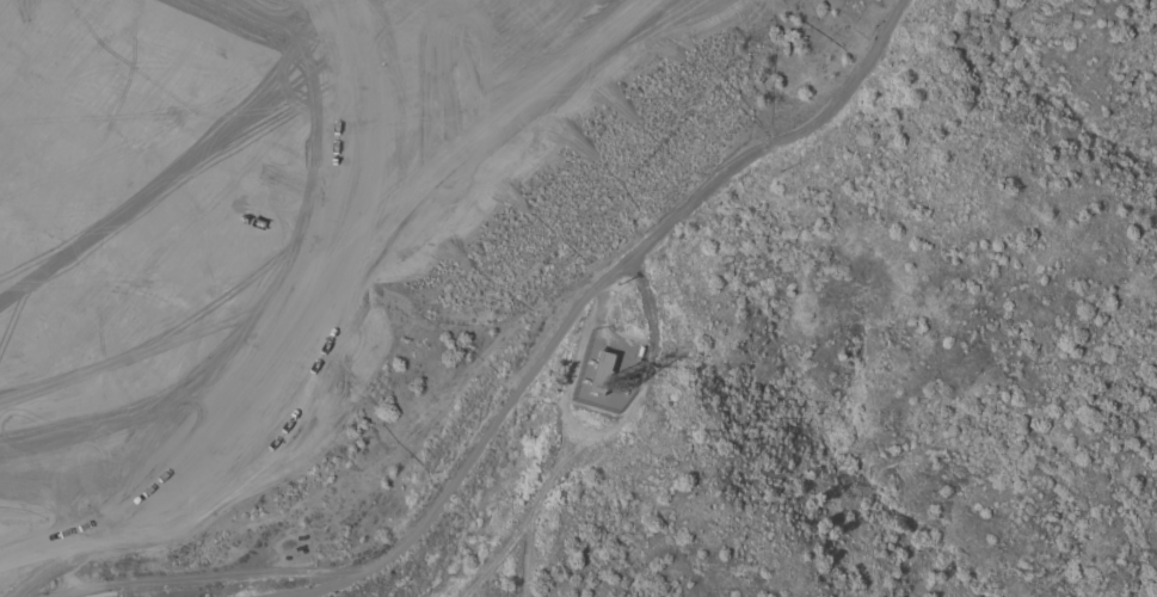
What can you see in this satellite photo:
road: (79, 78)
road: (180, 88)
road: (170, 135)
road: (198, 203)
road: (241, 220)
road: (75, 236)
road: (642, 248)
landfill: (226, 289)
landfill: (226, 289)
road: (479, 443)
road: (85, 453)

